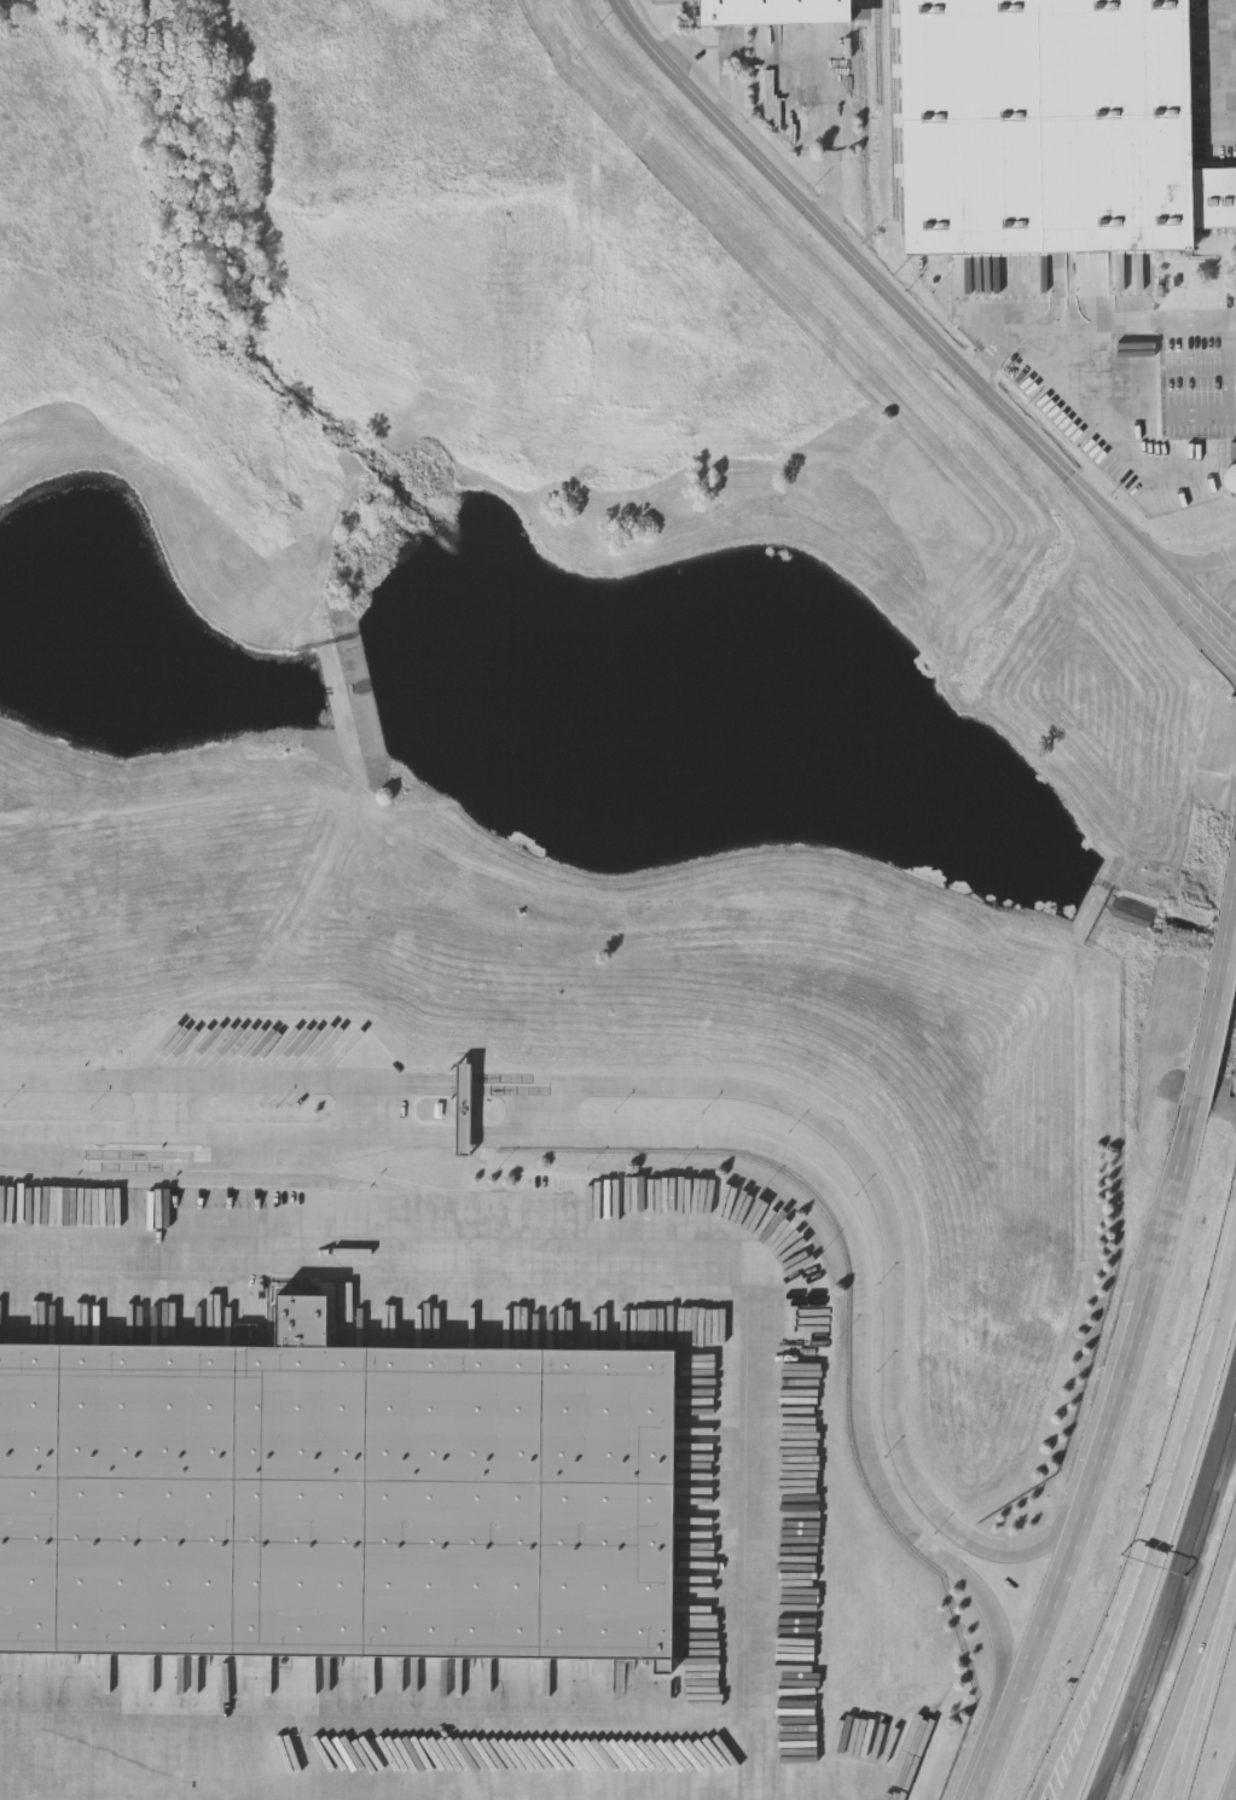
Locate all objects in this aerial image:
building: (774, 11)
railway: (877, 53)
road: (1209, 60)
road: (726, 80)
railway: (893, 109)
building: (1050, 128)
road: (835, 141)
road: (925, 321)
road: (1098, 323)
road: (1199, 381)
road: (1149, 395)
road: (1231, 397)
building: (1230, 474)
road: (1188, 565)
road: (1217, 1000)
road: (709, 1087)
road: (721, 1137)
road: (372, 1179)
building: (127, 1236)
road: (1199, 1398)
road: (1098, 1457)
building: (337, 1499)
road: (742, 1539)
road: (1098, 1665)
road: (1120, 1666)
road: (1189, 1677)
road: (1209, 1688)
road: (370, 1706)
road: (7, 1778)
road: (1231, 1789)
road: (761, 1796)

